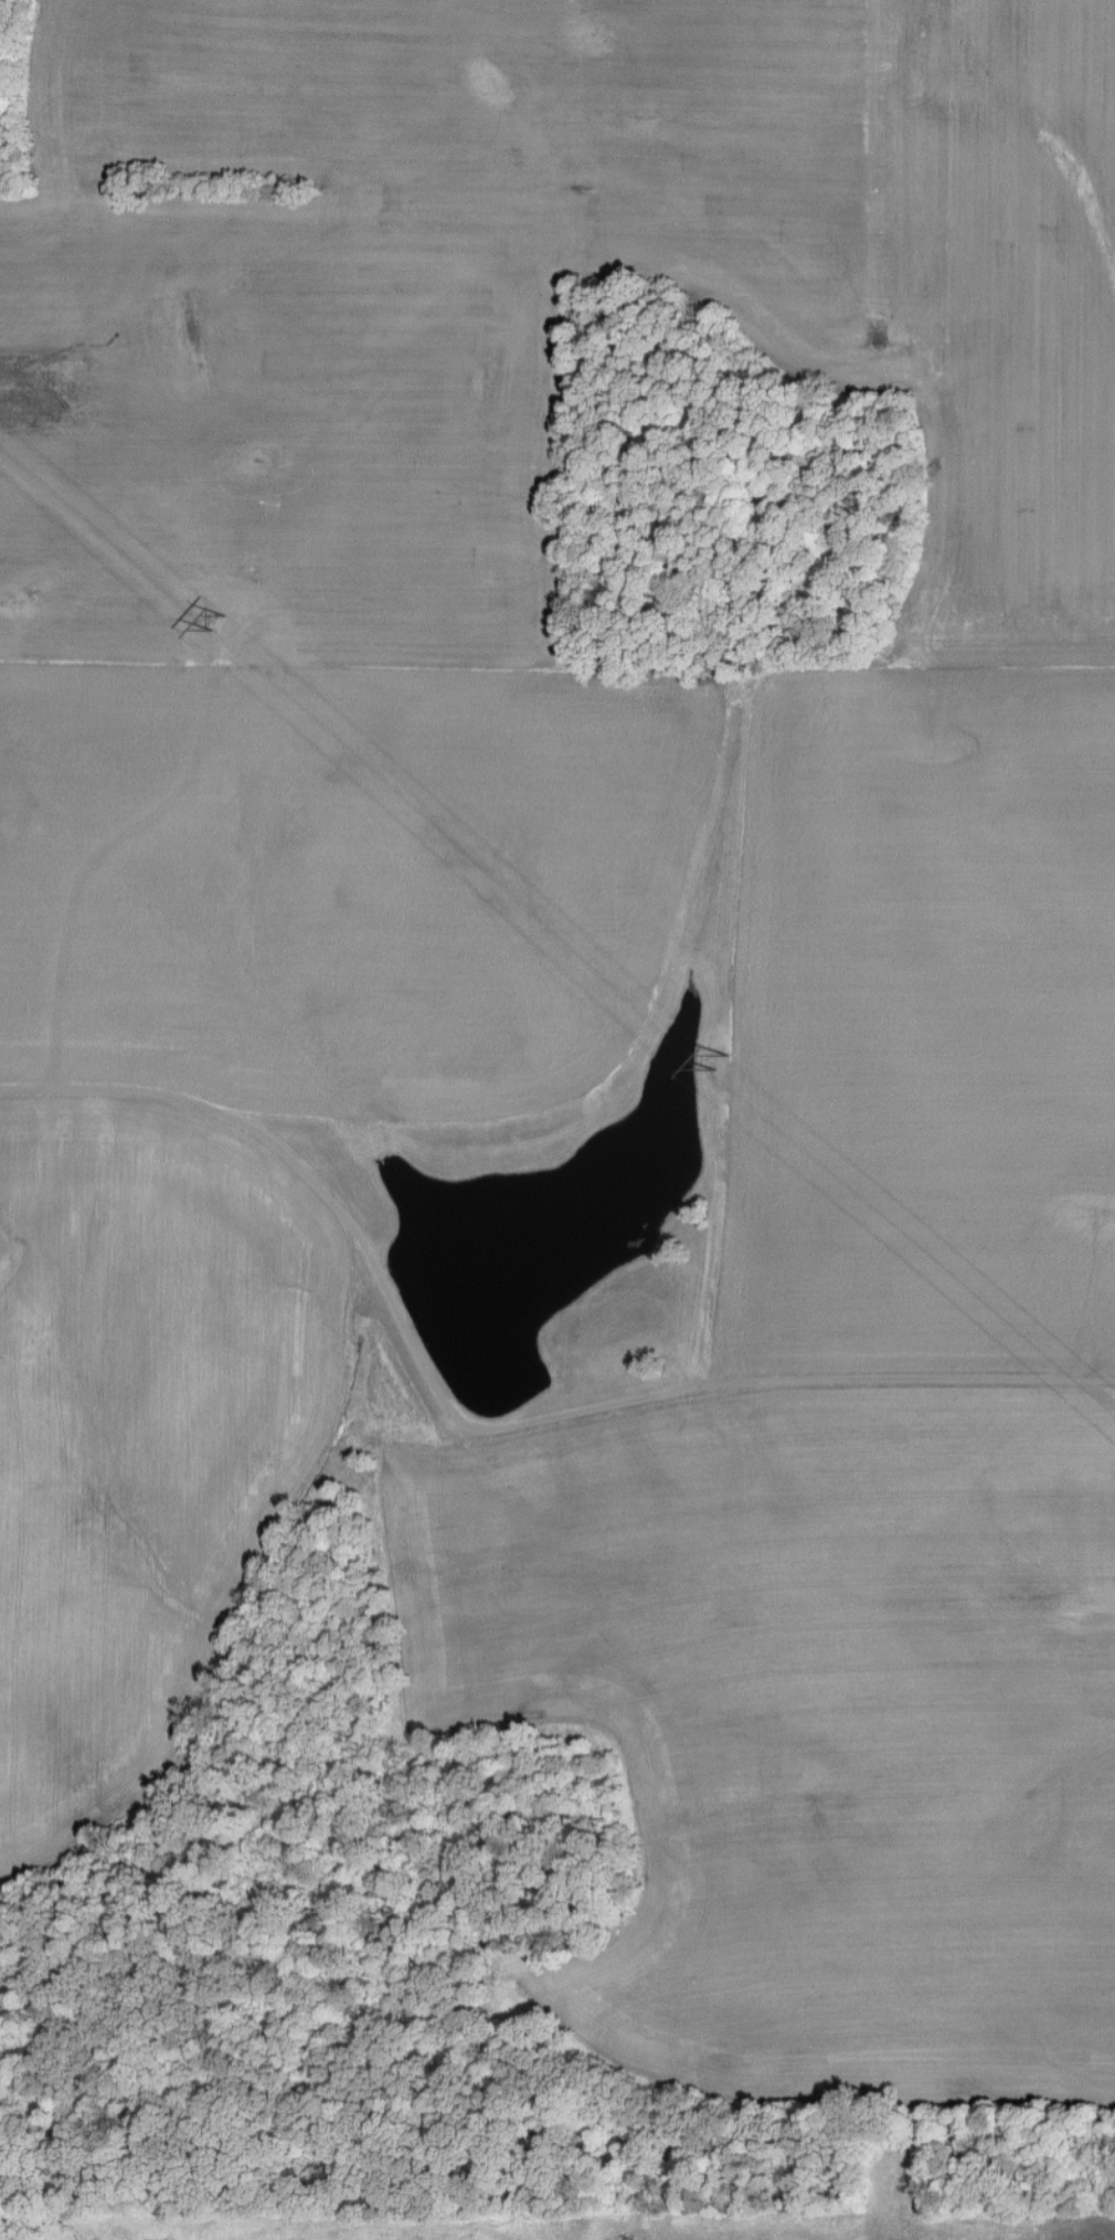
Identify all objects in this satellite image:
power tower: (217, 631)
power tower: (718, 1064)
road: (401, 1318)
building: (731, 1603)

